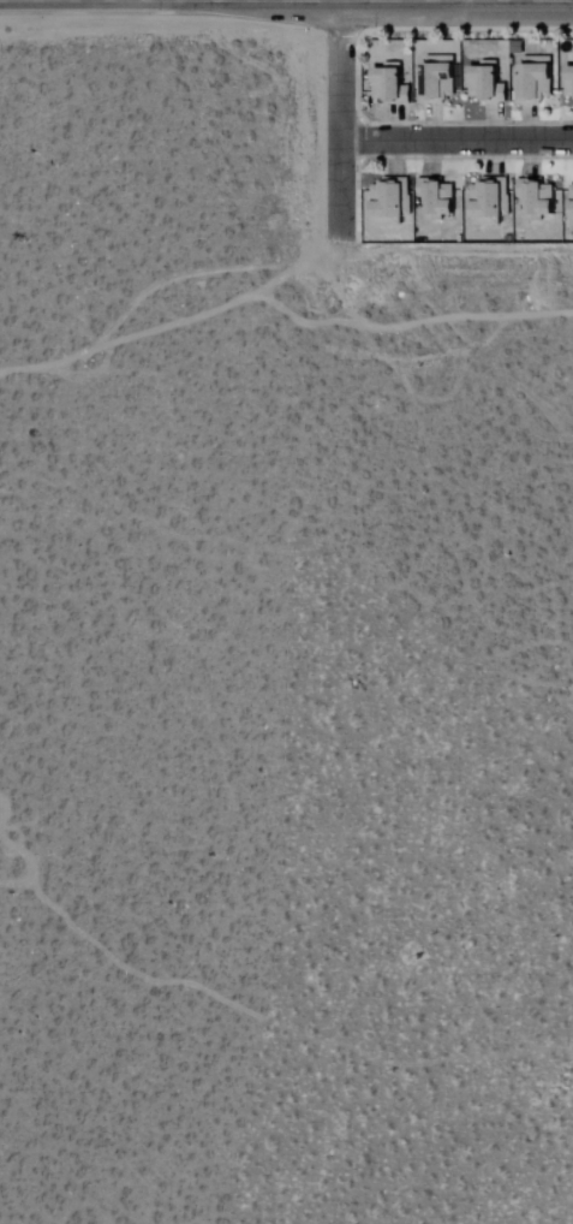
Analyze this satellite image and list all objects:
building: (440, 79)
building: (537, 81)
building: (571, 82)
building: (490, 83)
building: (394, 84)
road: (338, 119)
road: (455, 142)
building: (572, 184)
building: (440, 198)
building: (539, 198)
building: (491, 202)
building: (393, 203)
road: (155, 284)

